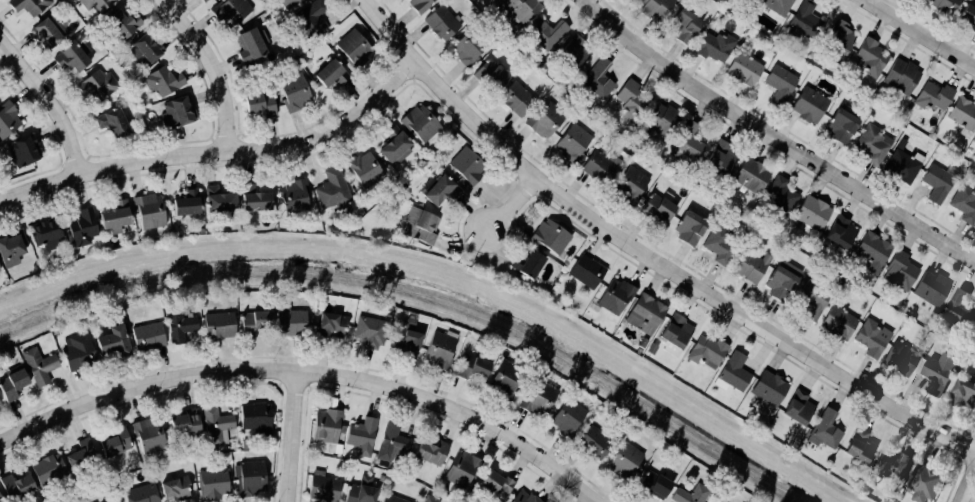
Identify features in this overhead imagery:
building: (301, 0)
building: (493, 0)
building: (495, 0)
building: (747, 0)
building: (202, 1)
building: (285, 3)
building: (93, 4)
building: (27, 5)
building: (417, 5)
building: (942, 5)
building: (775, 6)
building: (653, 7)
building: (520, 8)
building: (229, 11)
building: (309, 18)
building: (967, 18)
building: (804, 20)
building: (441, 22)
building: (120, 25)
building: (682, 26)
building: (47, 31)
building: (545, 34)
road: (919, 34)
building: (837, 38)
building: (249, 44)
building: (467, 46)
building: (350, 47)
building: (713, 47)
building: (143, 49)
building: (573, 51)
building: (69, 58)
building: (869, 58)
road: (211, 67)
building: (742, 69)
building: (326, 73)
building: (488, 74)
building: (900, 76)
building: (596, 79)
building: (162, 81)
building: (810, 81)
building: (779, 84)
building: (94, 85)
building: (292, 92)
building: (931, 96)
building: (514, 99)
building: (630, 99)
road: (48, 102)
building: (257, 104)
building: (807, 105)
building: (173, 114)
building: (962, 114)
building: (6, 118)
building: (543, 119)
building: (658, 119)
building: (418, 123)
building: (109, 126)
building: (839, 126)
road: (774, 138)
building: (571, 143)
building: (974, 143)
building: (685, 144)
building: (871, 144)
building: (392, 146)
road: (217, 149)
building: (19, 152)
building: (719, 158)
building: (904, 164)
building: (465, 166)
building: (599, 167)
building: (361, 168)
building: (751, 175)
building: (629, 184)
building: (936, 184)
building: (331, 189)
building: (434, 189)
building: (292, 196)
building: (780, 198)
building: (216, 200)
building: (251, 200)
building: (185, 203)
building: (963, 203)
road: (510, 205)
building: (656, 207)
building: (147, 211)
building: (810, 213)
building: (113, 216)
building: (417, 226)
building: (80, 227)
building: (687, 228)
building: (839, 232)
building: (45, 235)
building: (549, 237)
building: (717, 244)
building: (11, 246)
building: (871, 252)
road: (646, 255)
building: (525, 265)
building: (747, 266)
building: (585, 271)
building: (899, 271)
building: (780, 280)
building: (929, 288)
building: (614, 296)
building: (812, 301)
building: (955, 306)
building: (591, 310)
building: (644, 314)
building: (254, 322)
building: (293, 322)
building: (836, 323)
building: (332, 324)
building: (219, 325)
building: (180, 326)
building: (371, 331)
building: (674, 331)
building: (148, 337)
building: (869, 338)
building: (113, 343)
building: (407, 343)
building: (641, 343)
building: (650, 349)
building: (439, 350)
building: (78, 351)
building: (705, 351)
building: (899, 358)
building: (39, 366)
building: (472, 368)
building: (733, 372)
building: (936, 372)
building: (505, 379)
building: (13, 382)
road: (143, 384)
building: (767, 388)
building: (962, 389)
building: (539, 398)
building: (796, 407)
road: (460, 411)
building: (256, 417)
building: (568, 417)
building: (185, 422)
building: (327, 425)
building: (217, 426)
building: (823, 430)
building: (149, 434)
building: (362, 436)
road: (291, 437)
building: (116, 442)
building: (594, 442)
building: (393, 443)
building: (858, 446)
building: (432, 451)
building: (82, 455)
building: (624, 461)
building: (892, 464)
building: (49, 469)
building: (461, 469)
building: (250, 477)
building: (922, 482)
road: (966, 482)
building: (214, 483)
building: (496, 485)
building: (655, 485)
building: (17, 486)
building: (323, 487)
building: (176, 490)
building: (361, 491)
building: (143, 493)
building: (690, 494)
building: (524, 497)
building: (0, 499)
building: (392, 499)
building: (430, 499)
building: (113, 500)

